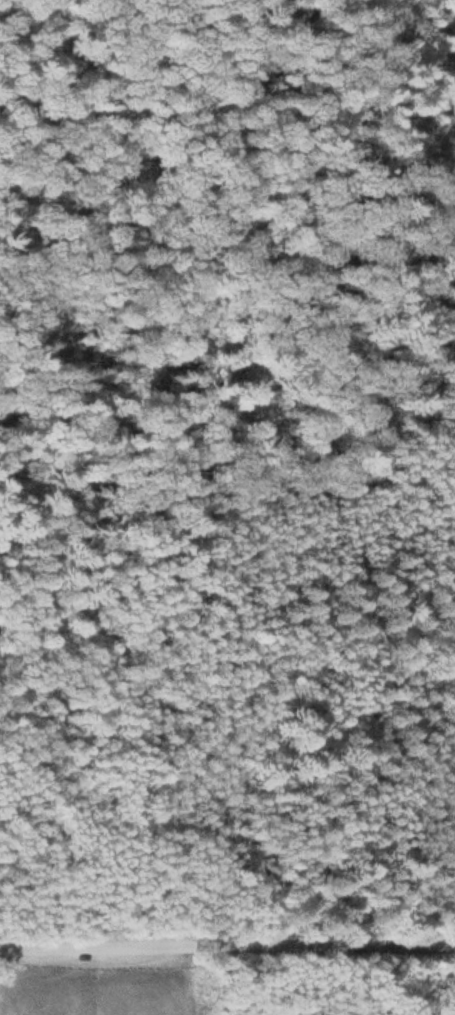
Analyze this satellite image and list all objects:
road: (134, 297)
road: (227, 944)

